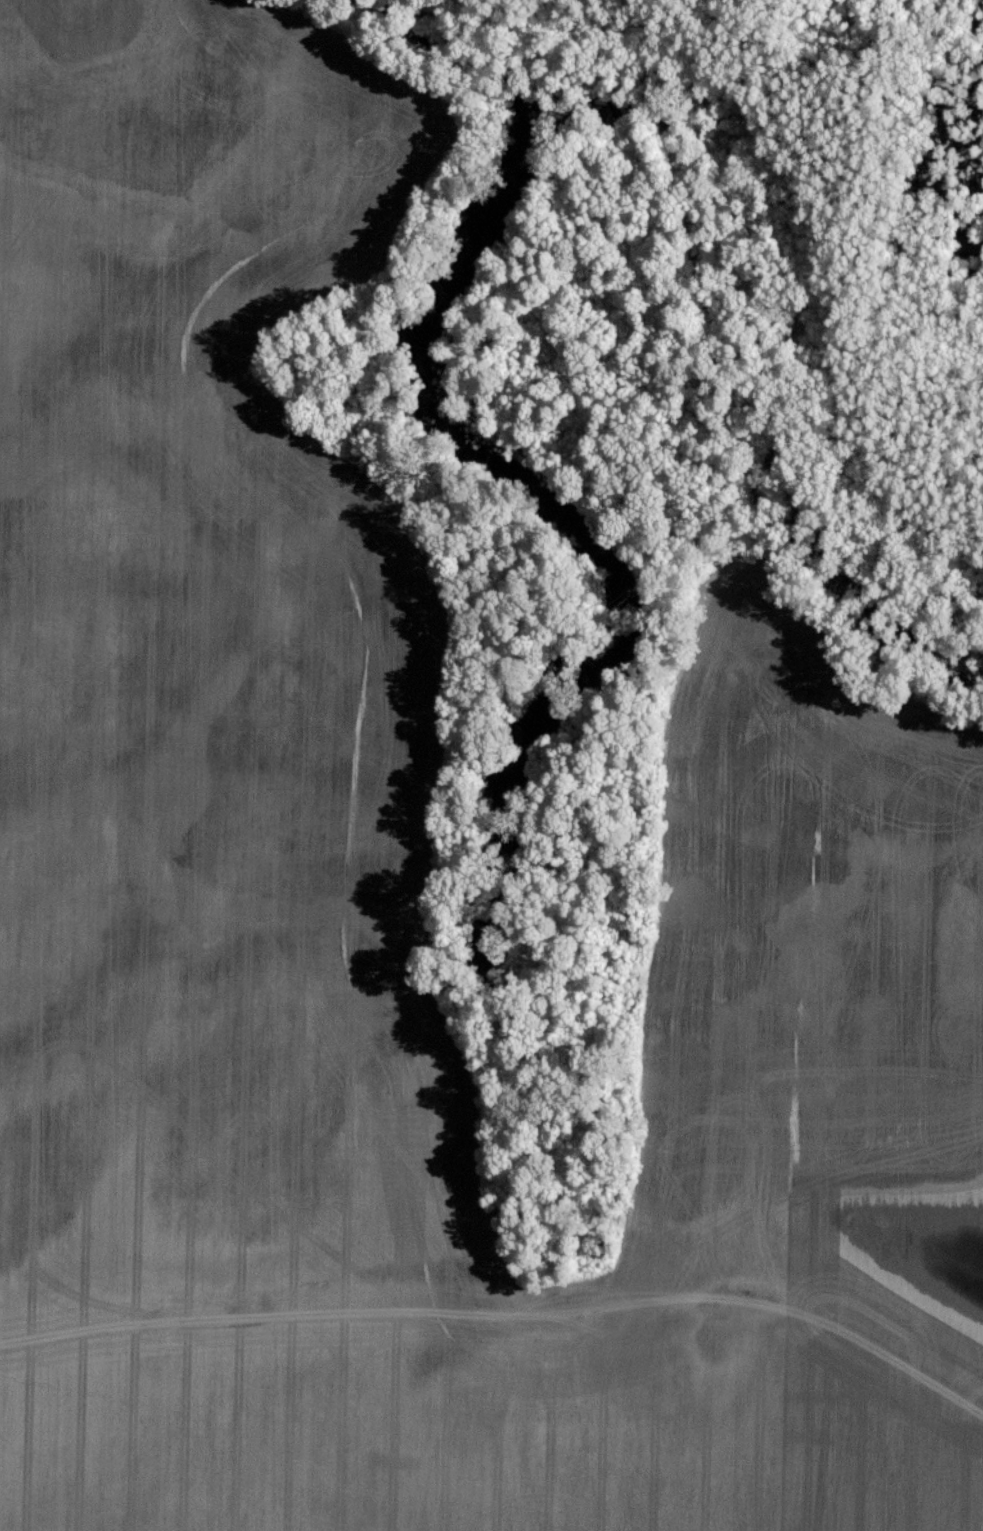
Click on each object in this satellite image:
road: (506, 1314)

